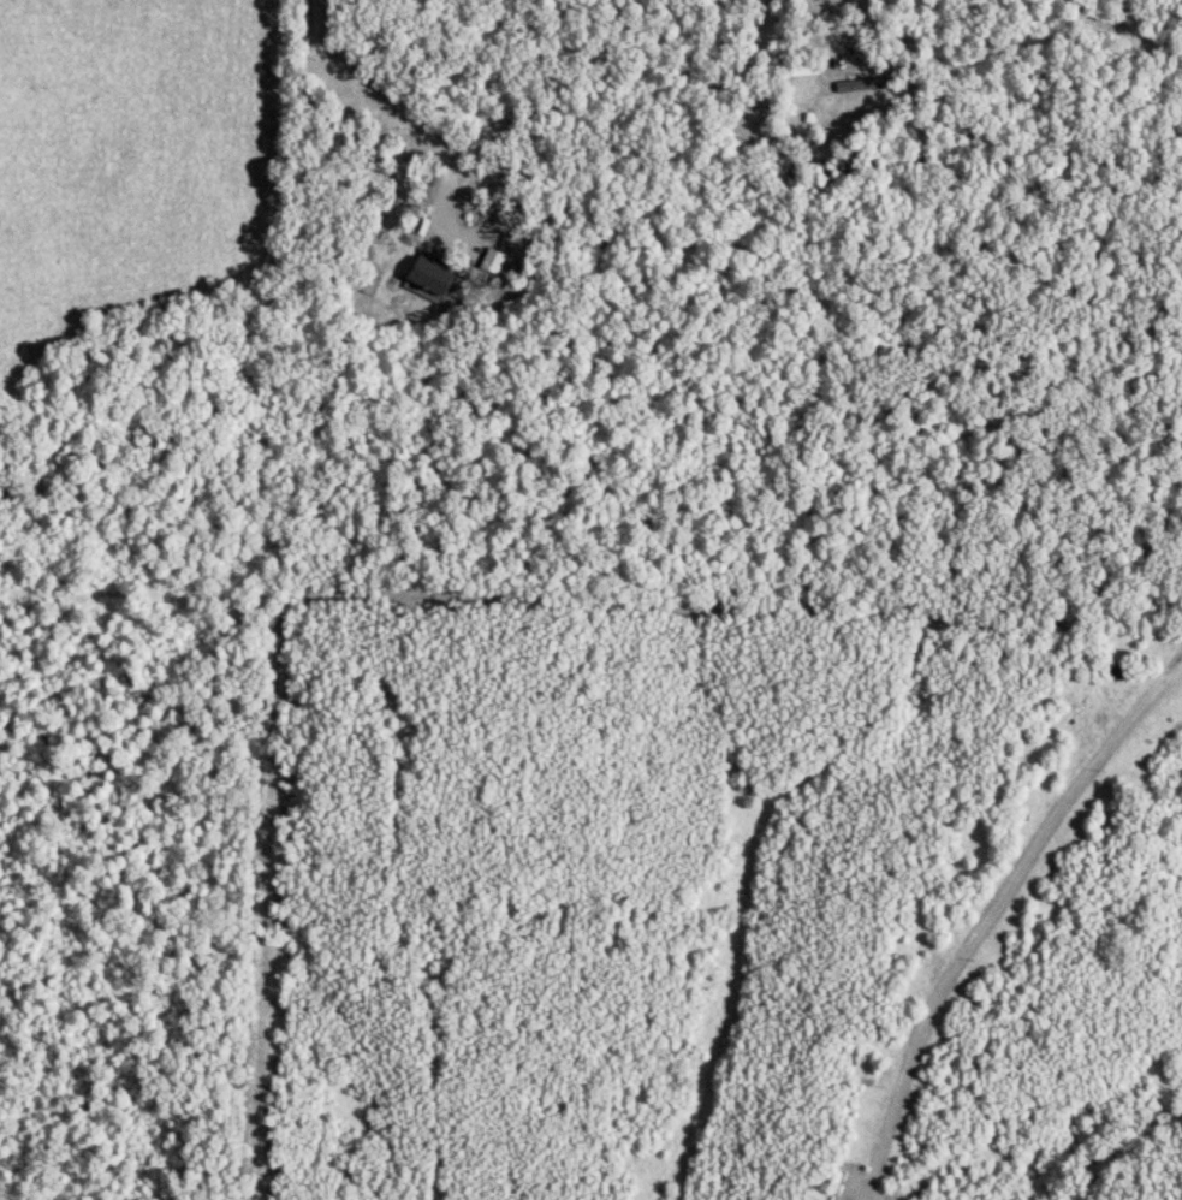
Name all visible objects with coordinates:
road: (841, 24)
road: (408, 114)
building: (424, 278)
road: (984, 917)

